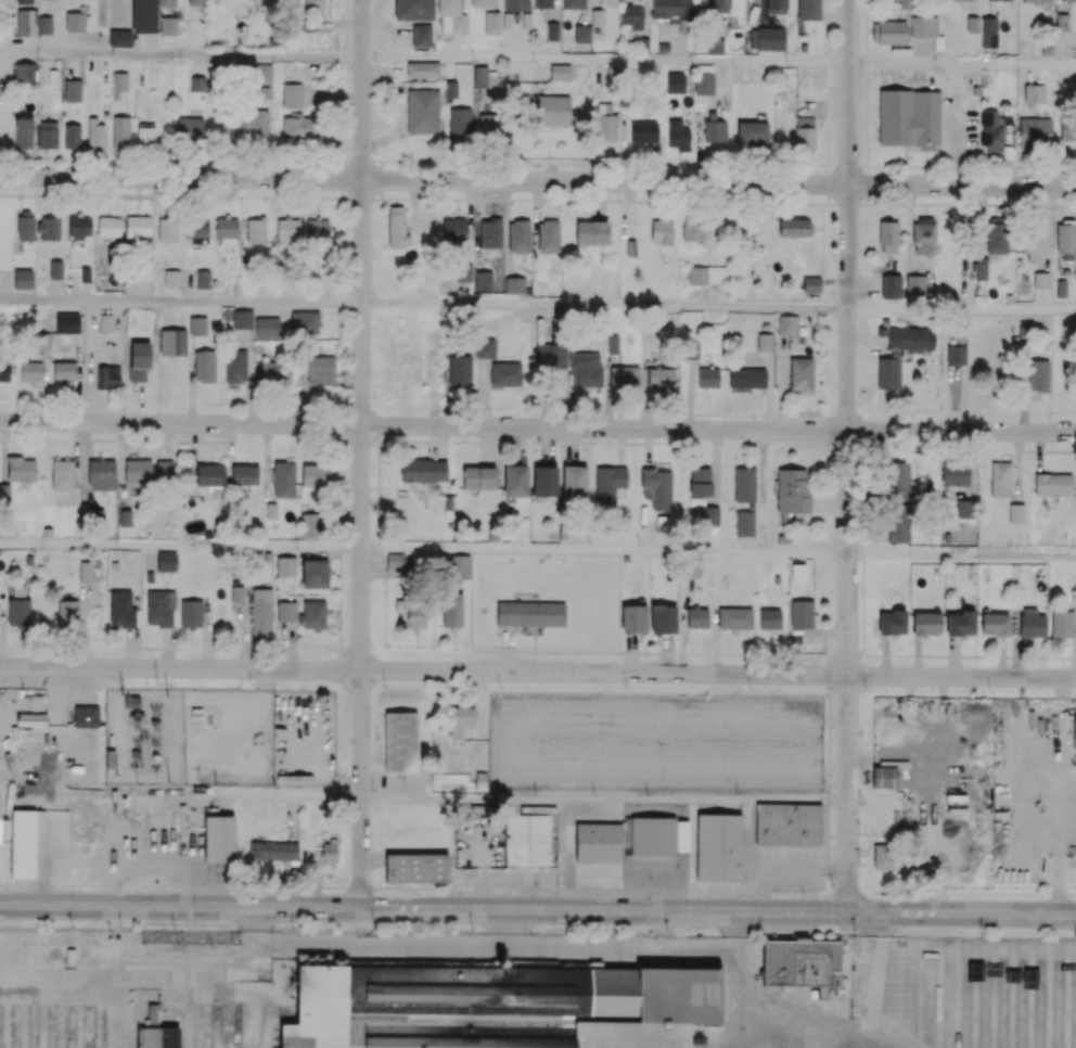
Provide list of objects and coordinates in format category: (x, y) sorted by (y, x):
road: (181, 54)
road: (604, 60)
road: (961, 63)
road: (958, 124)
road: (537, 181)
road: (180, 302)
road: (604, 306)
road: (962, 310)
road: (538, 426)
road: (361, 453)
road: (847, 456)
road: (180, 547)
road: (604, 552)
road: (962, 557)
road: (537, 672)
road: (113, 679)
power tower: (156, 706)
power substation: (190, 739)
power tower: (138, 767)
road: (180, 792)
road: (962, 801)
road: (604, 803)
road: (537, 890)
road: (537, 909)
road: (401, 942)
road: (625, 945)
road: (162, 975)
road: (739, 1018)
railway: (821, 1020)

